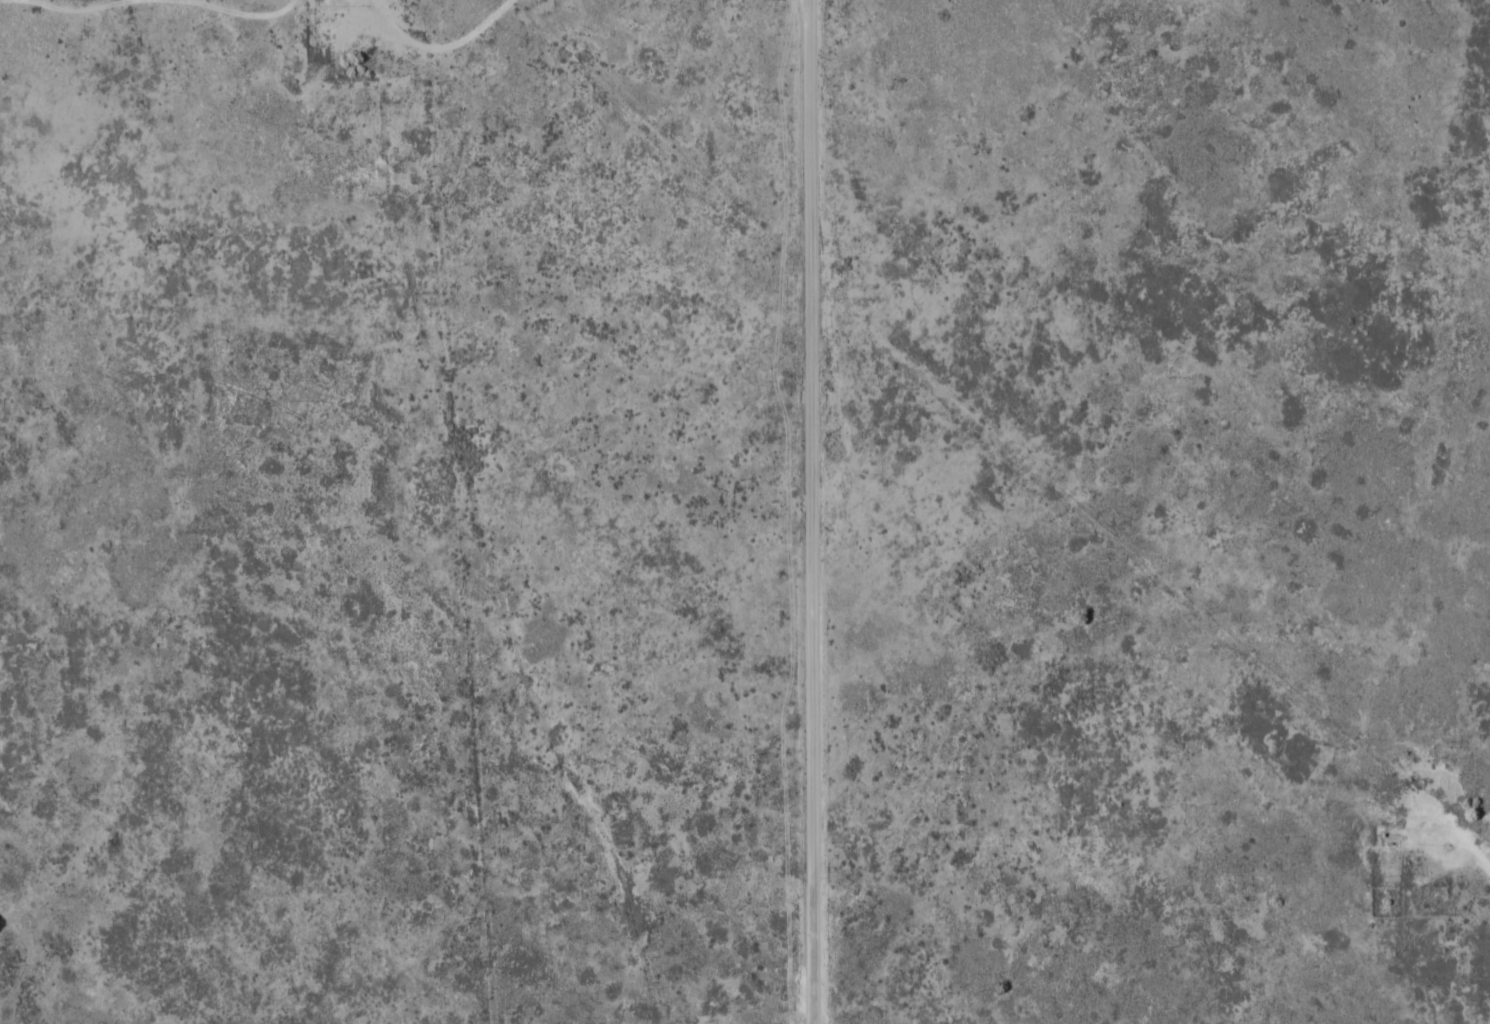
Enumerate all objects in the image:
road: (815, 511)

